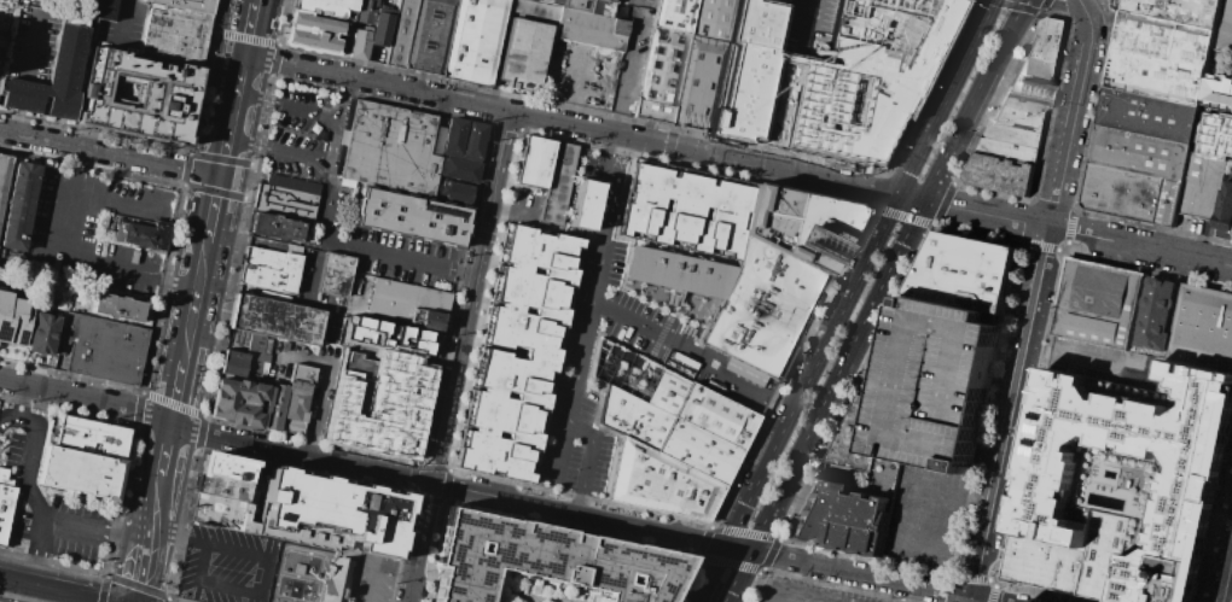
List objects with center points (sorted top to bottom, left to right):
building: (36, 0)
building: (42, 0)
building: (529, 1)
road: (1079, 1)
building: (551, 2)
parking lot: (637, 4)
building: (1, 5)
building: (187, 5)
building: (577, 5)
road: (1042, 5)
road: (1012, 6)
road: (1062, 6)
building: (329, 7)
building: (603, 7)
building: (98, 8)
building: (365, 11)
road: (1085, 11)
building: (1178, 11)
building: (672, 16)
building: (711, 21)
building: (755, 23)
building: (1225, 25)
parking lot: (121, 28)
road: (251, 28)
building: (379, 29)
road: (122, 31)
building: (316, 31)
building: (591, 31)
parking lot: (4, 34)
building: (399, 34)
building: (174, 36)
building: (428, 36)
road: (263, 41)
building: (473, 41)
building: (1164, 41)
building: (360, 45)
parking lot: (28, 47)
road: (1109, 49)
building: (523, 54)
building: (1039, 59)
road: (24, 69)
parking lot: (599, 70)
building: (657, 77)
building: (1156, 78)
building: (48, 82)
building: (836, 82)
building: (696, 84)
road: (926, 87)
building: (1219, 92)
road: (1054, 93)
building: (136, 97)
road: (994, 97)
road: (345, 98)
road: (1096, 103)
building: (1021, 110)
road: (314, 111)
road: (234, 115)
building: (1149, 116)
road: (573, 125)
building: (1013, 134)
building: (1218, 138)
building: (390, 150)
building: (1009, 150)
road: (110, 151)
building: (464, 151)
building: (1140, 153)
building: (533, 165)
road: (606, 166)
road: (185, 169)
building: (1000, 173)
building: (4, 174)
traffic signals: (222, 175)
building: (556, 183)
building: (1202, 185)
road: (877, 188)
road: (993, 189)
building: (454, 191)
building: (1122, 192)
parking lot: (342, 195)
road: (912, 198)
road: (1030, 199)
building: (1169, 201)
building: (284, 203)
road: (942, 203)
building: (583, 204)
parking lot: (583, 204)
building: (1225, 204)
building: (681, 209)
building: (16, 210)
road: (900, 215)
building: (407, 217)
road: (605, 223)
road: (1070, 223)
road: (213, 224)
road: (1152, 224)
building: (797, 226)
building: (275, 227)
road: (330, 228)
parking lot: (92, 230)
road: (977, 230)
road: (1077, 233)
building: (140, 236)
road: (47, 244)
road: (1039, 244)
road: (1067, 245)
road: (1144, 267)
building: (269, 270)
building: (678, 270)
building: (777, 271)
building: (336, 275)
road: (848, 299)
road: (872, 302)
road: (196, 303)
building: (1099, 304)
building: (409, 305)
parking lot: (614, 306)
building: (116, 309)
road: (1033, 309)
road: (678, 311)
building: (760, 311)
building: (1156, 316)
building: (14, 321)
building: (279, 321)
road: (629, 321)
building: (1203, 329)
building: (42, 333)
building: (385, 334)
building: (744, 344)
building: (109, 350)
building: (518, 352)
building: (256, 355)
road: (458, 356)
building: (682, 360)
road: (1082, 362)
building: (234, 364)
road: (705, 364)
road: (790, 364)
building: (930, 366)
building: (1152, 368)
road: (180, 378)
road: (321, 378)
road: (855, 381)
road: (574, 386)
building: (714, 386)
road: (768, 398)
building: (297, 399)
building: (380, 402)
building: (249, 404)
road: (179, 405)
parking lot: (969, 407)
road: (987, 408)
building: (644, 409)
parking lot: (319, 411)
road: (1030, 414)
building: (716, 415)
road: (8, 416)
building: (95, 439)
building: (698, 450)
road: (560, 455)
road: (163, 463)
road: (361, 467)
building: (227, 468)
building: (1132, 472)
building: (82, 474)
building: (657, 481)
building: (227, 489)
road: (945, 495)
road: (31, 496)
building: (5, 501)
building: (223, 513)
building: (336, 514)
parking lot: (925, 514)
building: (843, 515)
parking lot: (69, 530)
road: (1216, 531)
road: (744, 532)
road: (703, 540)
road: (934, 540)
road: (34, 549)
road: (145, 551)
road: (769, 553)
road: (867, 557)
building: (1108, 557)
building: (545, 560)
road: (730, 562)
road: (376, 563)
building: (1046, 565)
road: (849, 569)
road: (1226, 574)
road: (974, 575)
road: (682, 577)
road: (952, 577)
building: (343, 580)
parking lot: (376, 580)
road: (994, 581)
road: (754, 585)
road: (837, 585)
road: (138, 586)
road: (103, 588)
road: (54, 589)
road: (1042, 589)
road: (949, 590)
parking lot: (807, 592)
road: (992, 592)
road: (784, 596)
road: (971, 598)
road: (983, 598)
road: (168, 600)

